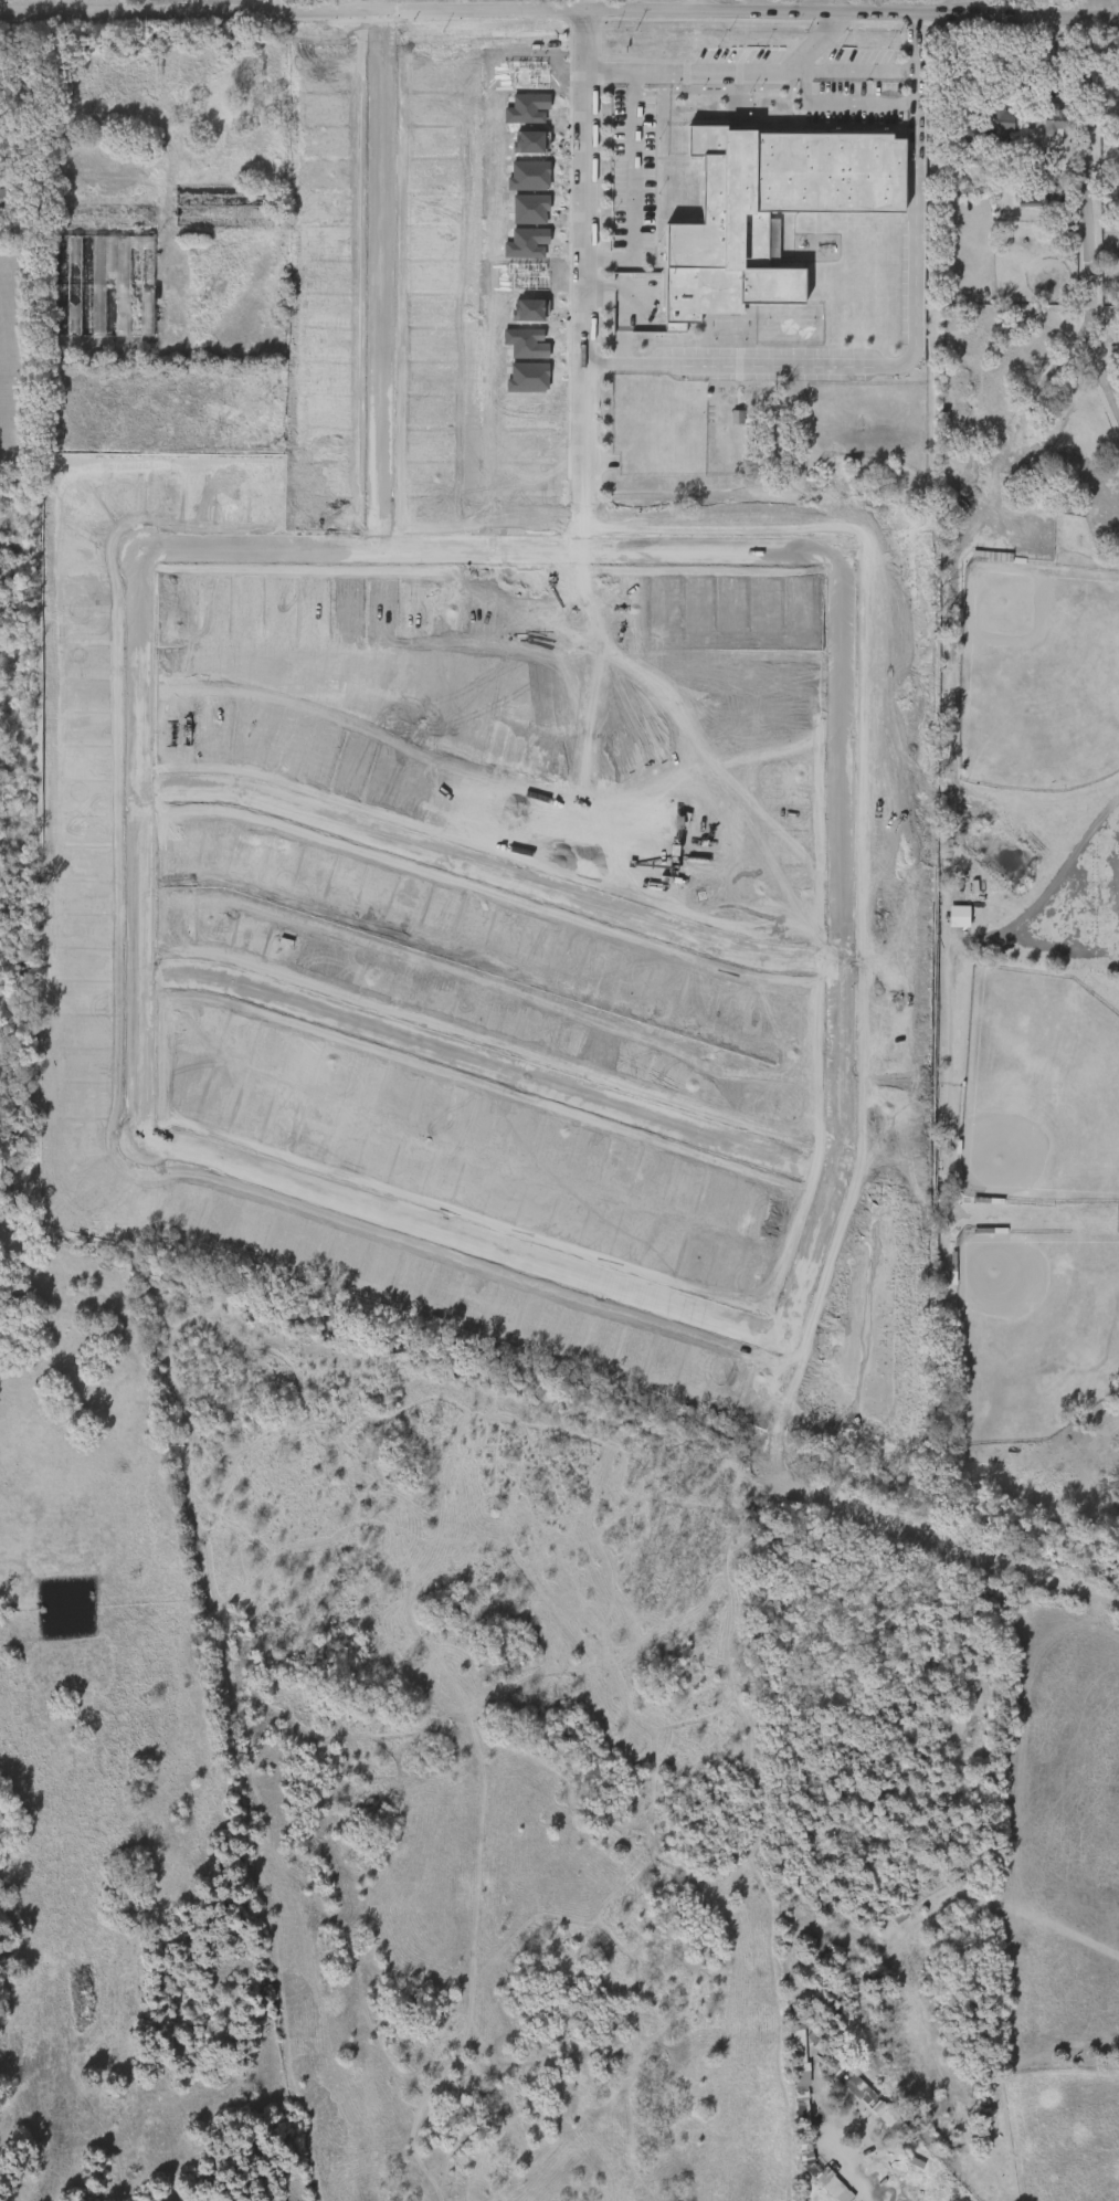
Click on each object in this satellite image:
road: (374, 7)
road: (712, 7)
road: (853, 8)
road: (559, 13)
road: (915, 43)
road: (720, 70)
road: (854, 70)
road: (953, 76)
building: (494, 82)
building: (481, 91)
road: (842, 103)
building: (993, 126)
building: (1054, 127)
building: (988, 129)
road: (630, 187)
building: (6, 199)
building: (1037, 199)
building: (223, 207)
road: (1091, 211)
building: (754, 218)
building: (1068, 240)
road: (581, 253)
road: (373, 281)
building: (103, 285)
road: (891, 368)
building: (493, 434)
road: (485, 867)
road: (484, 1057)
road: (488, 1241)
building: (788, 2078)
building: (863, 2109)
road: (854, 2188)

